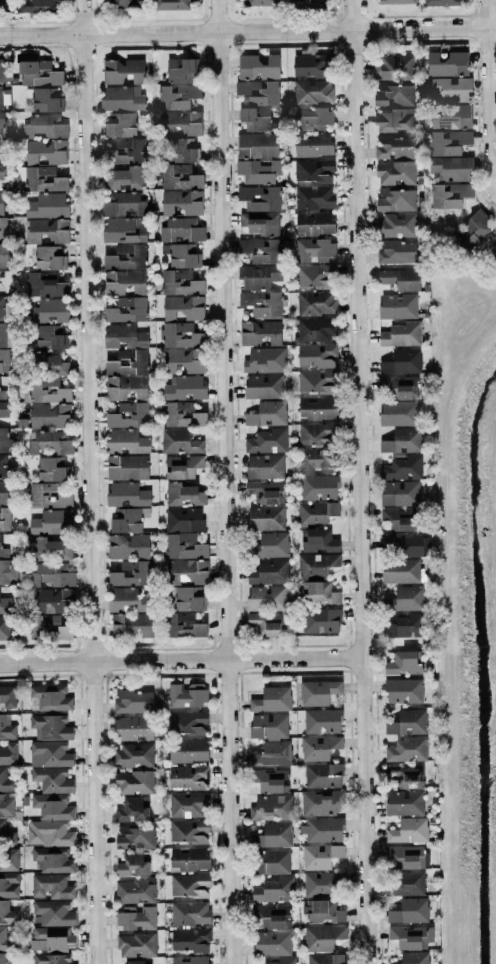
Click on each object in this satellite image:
building: (397, 1)
building: (263, 2)
building: (441, 2)
building: (128, 3)
building: (308, 3)
building: (2, 4)
building: (171, 4)
building: (36, 5)
road: (247, 30)
building: (447, 63)
building: (312, 65)
building: (258, 67)
building: (393, 67)
building: (181, 70)
building: (3, 71)
building: (123, 71)
building: (38, 73)
road: (491, 85)
building: (450, 89)
building: (259, 91)
building: (312, 91)
building: (393, 95)
building: (177, 96)
building: (4, 97)
building: (122, 98)
building: (46, 100)
building: (450, 116)
building: (312, 118)
building: (1, 119)
building: (257, 119)
building: (394, 120)
building: (180, 123)
building: (45, 126)
building: (121, 126)
building: (448, 142)
building: (257, 145)
building: (313, 145)
building: (394, 147)
building: (140, 149)
building: (180, 150)
building: (45, 152)
building: (109, 155)
building: (450, 168)
building: (258, 170)
building: (313, 170)
building: (395, 173)
building: (179, 176)
building: (124, 178)
building: (41, 179)
building: (1, 185)
building: (449, 195)
building: (259, 198)
building: (395, 200)
building: (181, 202)
building: (123, 204)
building: (46, 205)
building: (314, 210)
building: (260, 223)
building: (396, 225)
building: (3, 229)
building: (47, 230)
building: (124, 230)
building: (181, 230)
building: (471, 231)
building: (495, 233)
building: (261, 250)
building: (314, 250)
building: (397, 251)
building: (494, 251)
building: (4, 254)
building: (181, 255)
building: (110, 257)
building: (49, 258)
building: (259, 276)
building: (316, 276)
building: (400, 279)
building: (124, 282)
building: (180, 282)
building: (45, 284)
building: (262, 303)
building: (315, 303)
building: (1, 306)
building: (397, 306)
building: (183, 307)
building: (127, 309)
building: (48, 311)
building: (315, 329)
building: (260, 332)
building: (5, 334)
building: (401, 334)
building: (180, 335)
building: (50, 337)
building: (124, 337)
building: (316, 355)
building: (4, 360)
building: (264, 360)
building: (183, 361)
building: (401, 361)
building: (127, 362)
building: (54, 366)
building: (317, 381)
building: (263, 386)
building: (184, 388)
building: (396, 389)
building: (2, 394)
building: (127, 401)
building: (48, 403)
building: (317, 408)
building: (3, 409)
building: (398, 413)
building: (182, 414)
building: (276, 428)
building: (318, 434)
building: (3, 440)
building: (126, 441)
building: (179, 441)
building: (402, 441)
building: (48, 442)
building: (318, 461)
building: (182, 466)
building: (265, 466)
building: (5, 467)
building: (127, 467)
building: (402, 467)
building: (51, 469)
road: (91, 481)
road: (226, 481)
road: (360, 482)
building: (318, 487)
building: (3, 492)
building: (265, 492)
building: (399, 493)
building: (183, 494)
building: (127, 495)
building: (48, 496)
building: (316, 512)
building: (5, 518)
building: (265, 518)
building: (129, 519)
building: (184, 519)
building: (396, 520)
building: (51, 522)
building: (318, 540)
building: (404, 543)
building: (269, 545)
building: (128, 546)
building: (183, 546)
building: (47, 548)
building: (4, 550)
building: (316, 565)
building: (187, 571)
building: (400, 571)
building: (266, 572)
building: (140, 574)
building: (50, 575)
building: (320, 593)
building: (188, 598)
building: (266, 598)
building: (404, 599)
building: (50, 600)
building: (126, 600)
building: (6, 601)
building: (321, 620)
building: (265, 623)
building: (131, 624)
building: (182, 625)
building: (404, 626)
building: (48, 627)
building: (5, 628)
road: (181, 660)
building: (403, 663)
building: (403, 690)
building: (317, 692)
building: (187, 694)
building: (7, 698)
building: (49, 698)
building: (271, 699)
building: (132, 702)
building: (322, 721)
building: (186, 722)
building: (407, 722)
building: (50, 727)
building: (133, 728)
building: (270, 739)
building: (318, 747)
building: (407, 749)
building: (187, 750)
building: (8, 753)
building: (50, 754)
building: (133, 755)
building: (322, 775)
building: (403, 776)
building: (187, 777)
building: (6, 780)
building: (52, 780)
building: (269, 780)
building: (134, 782)
building: (322, 802)
building: (404, 803)
building: (187, 804)
building: (6, 806)
building: (52, 806)
building: (271, 807)
building: (131, 810)
building: (322, 829)
building: (408, 830)
building: (188, 831)
building: (48, 833)
building: (272, 835)
building: (135, 837)
building: (320, 856)
building: (406, 856)
building: (189, 859)
building: (53, 860)
building: (272, 862)
building: (132, 865)
building: (324, 883)
building: (405, 883)
building: (9, 884)
building: (189, 885)
building: (51, 886)
building: (272, 890)
building: (135, 891)
building: (322, 911)
building: (409, 911)
building: (7, 913)
building: (52, 913)
building: (189, 913)
building: (268, 916)
building: (136, 917)
building: (322, 937)
building: (411, 937)
building: (51, 938)
building: (6, 940)
building: (190, 940)
building: (272, 943)
building: (136, 945)
building: (4, 958)
building: (50, 958)
building: (414, 958)
building: (326, 959)
building: (189, 960)
building: (278, 961)
building: (135, 962)

